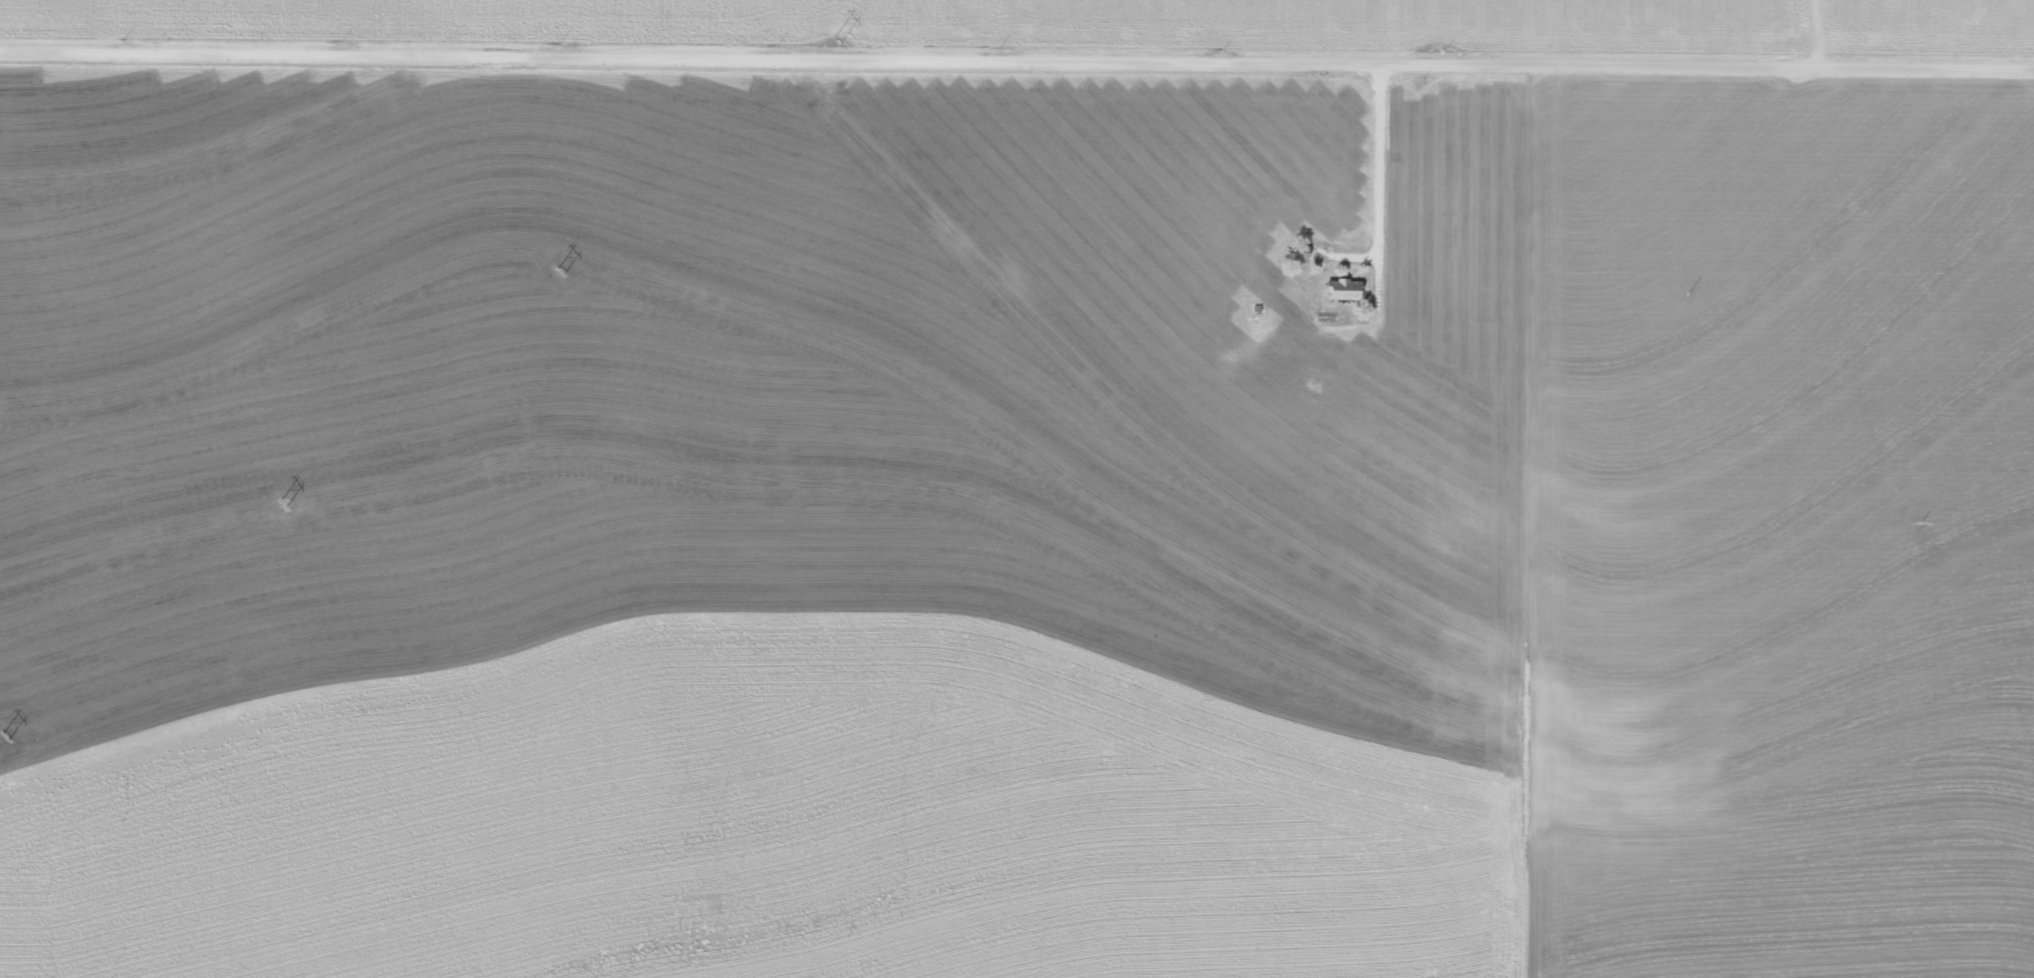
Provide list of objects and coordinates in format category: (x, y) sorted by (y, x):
power tower: (834, 29)
road: (1833, 35)
road: (1017, 64)
power tower: (544, 270)
building: (1337, 290)
power tower: (262, 503)
power tower: (13, 739)

